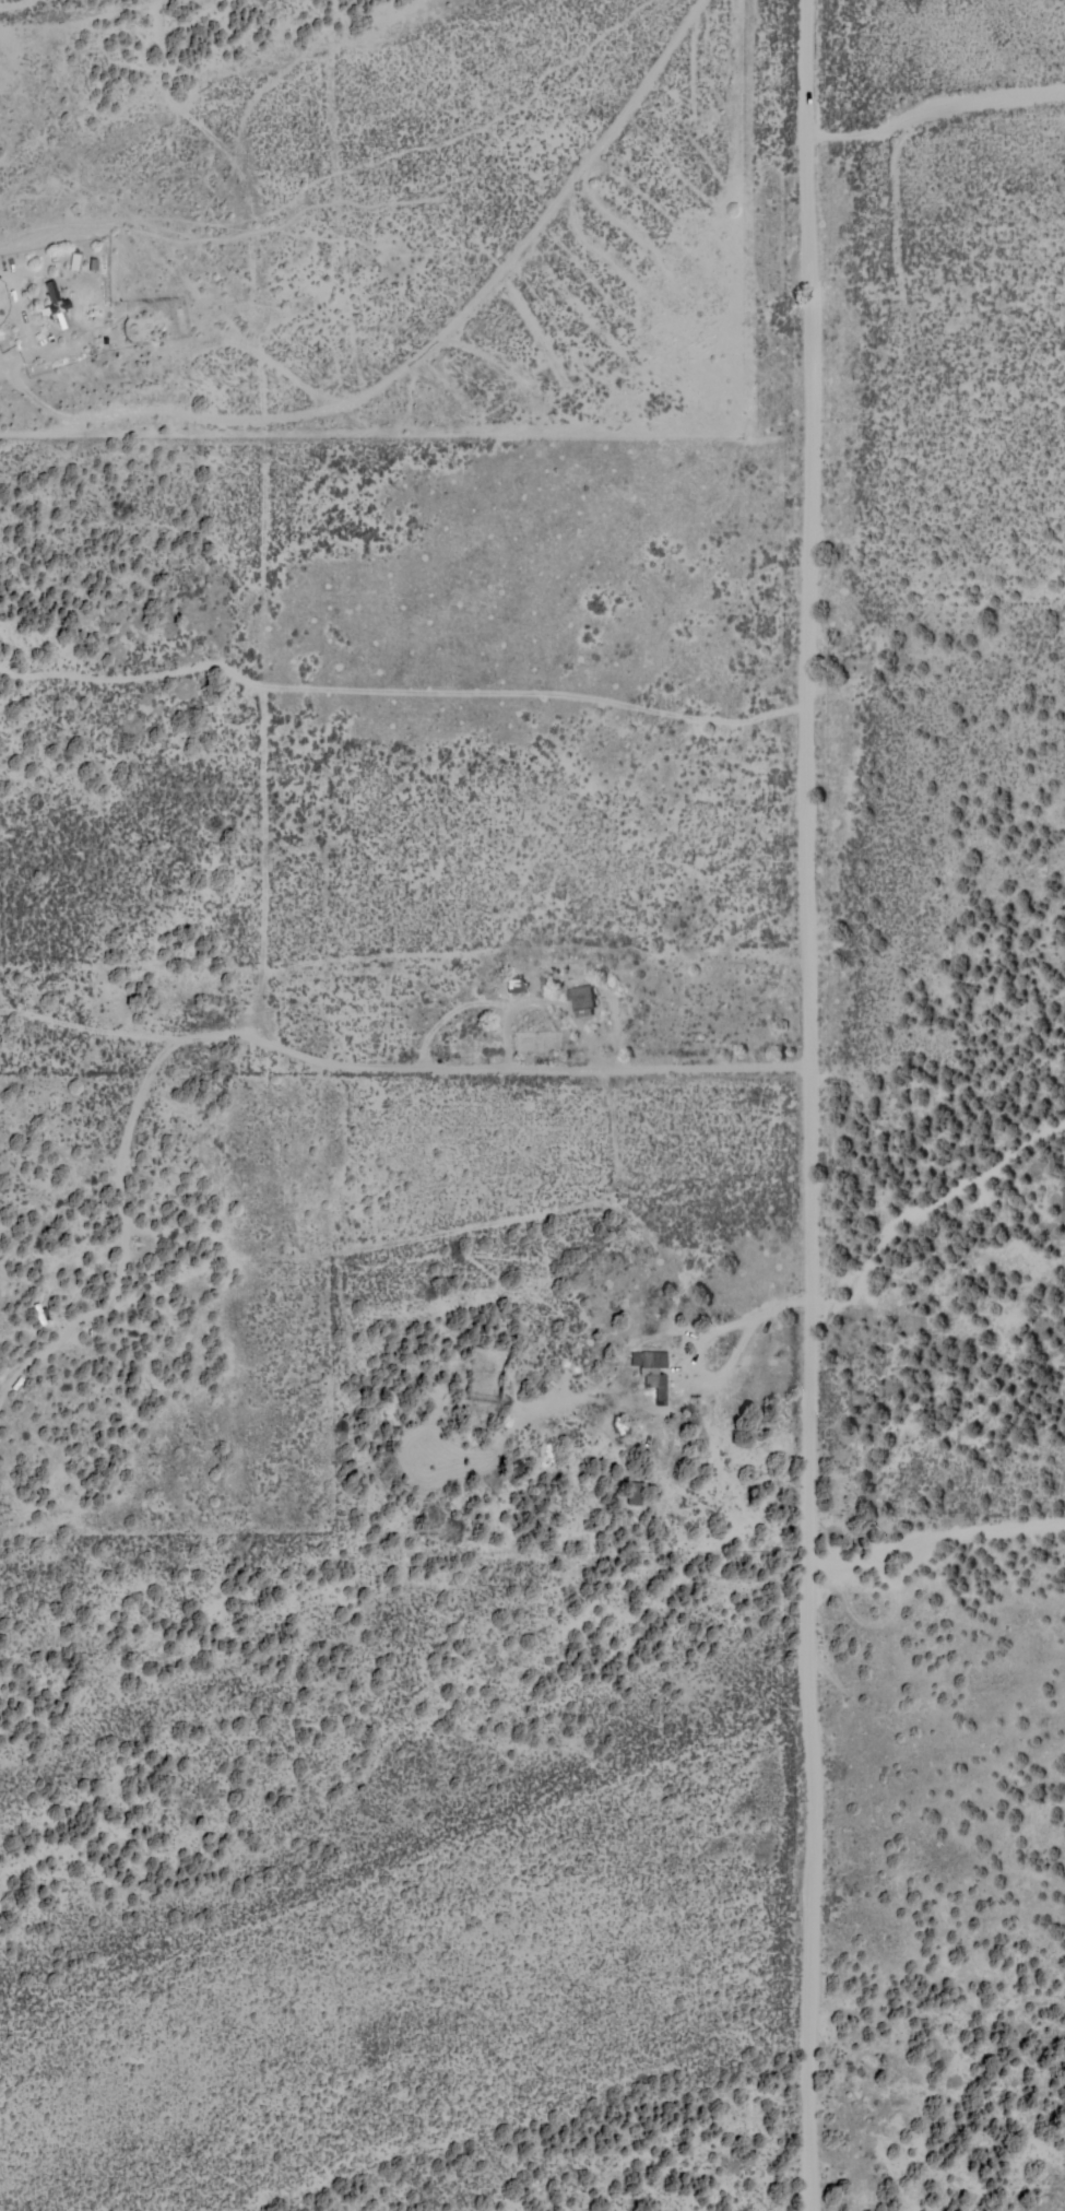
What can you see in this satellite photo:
building: (57, 304)
road: (400, 520)
road: (370, 726)
building: (517, 981)
building: (583, 999)
road: (833, 1105)
road: (950, 1154)
building: (1063, 1203)
building: (653, 1369)
road: (955, 1482)
building: (634, 1492)

